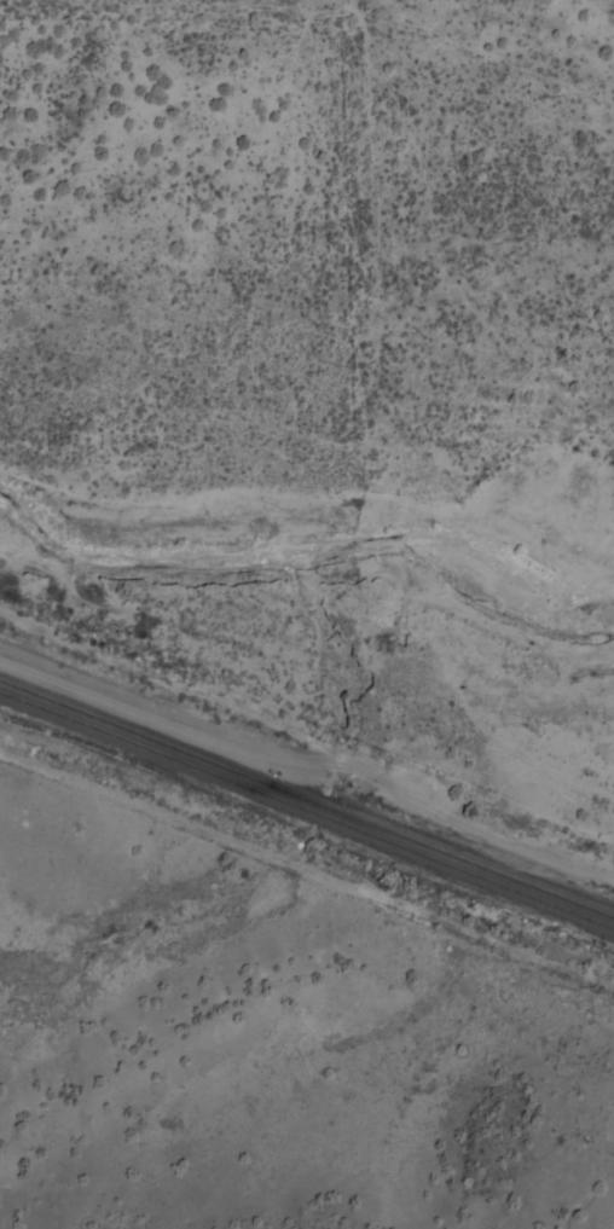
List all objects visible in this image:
railway: (307, 796)
railway: (307, 810)

